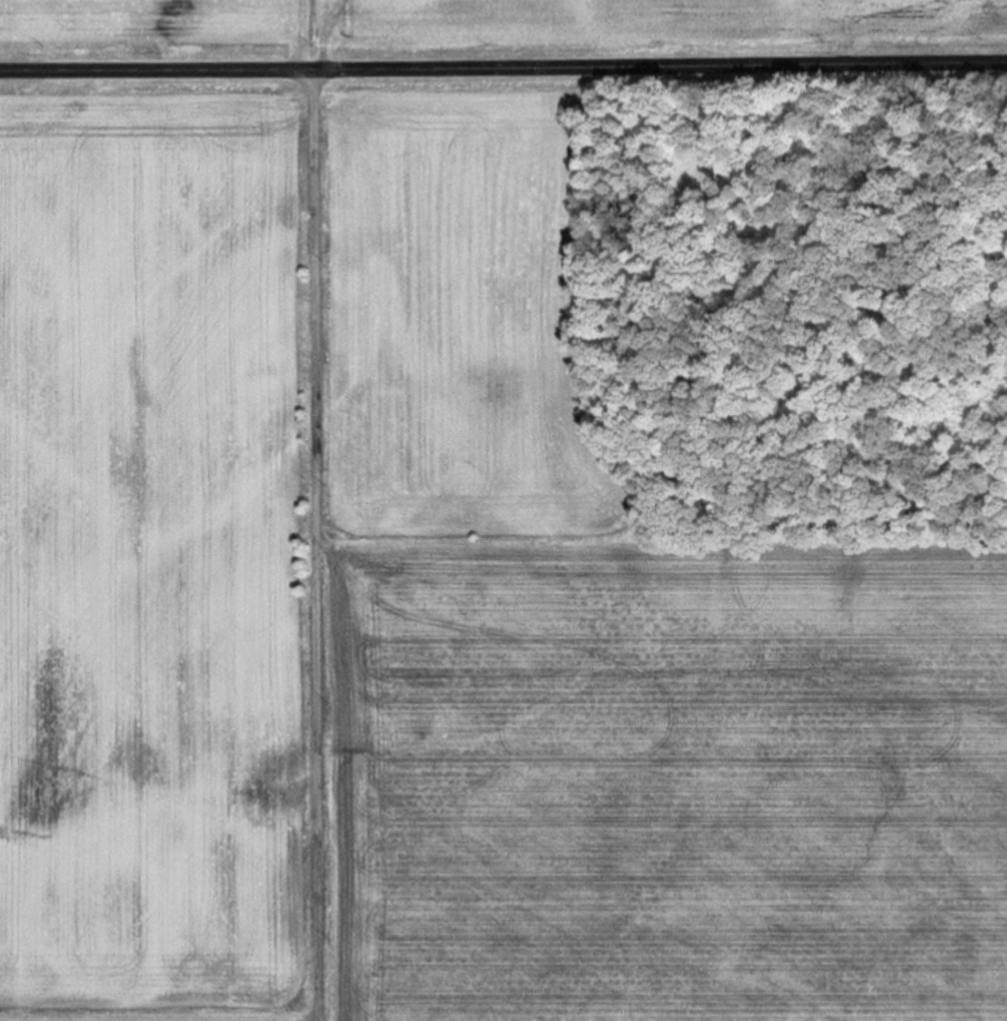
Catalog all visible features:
road: (503, 68)
road: (313, 546)

